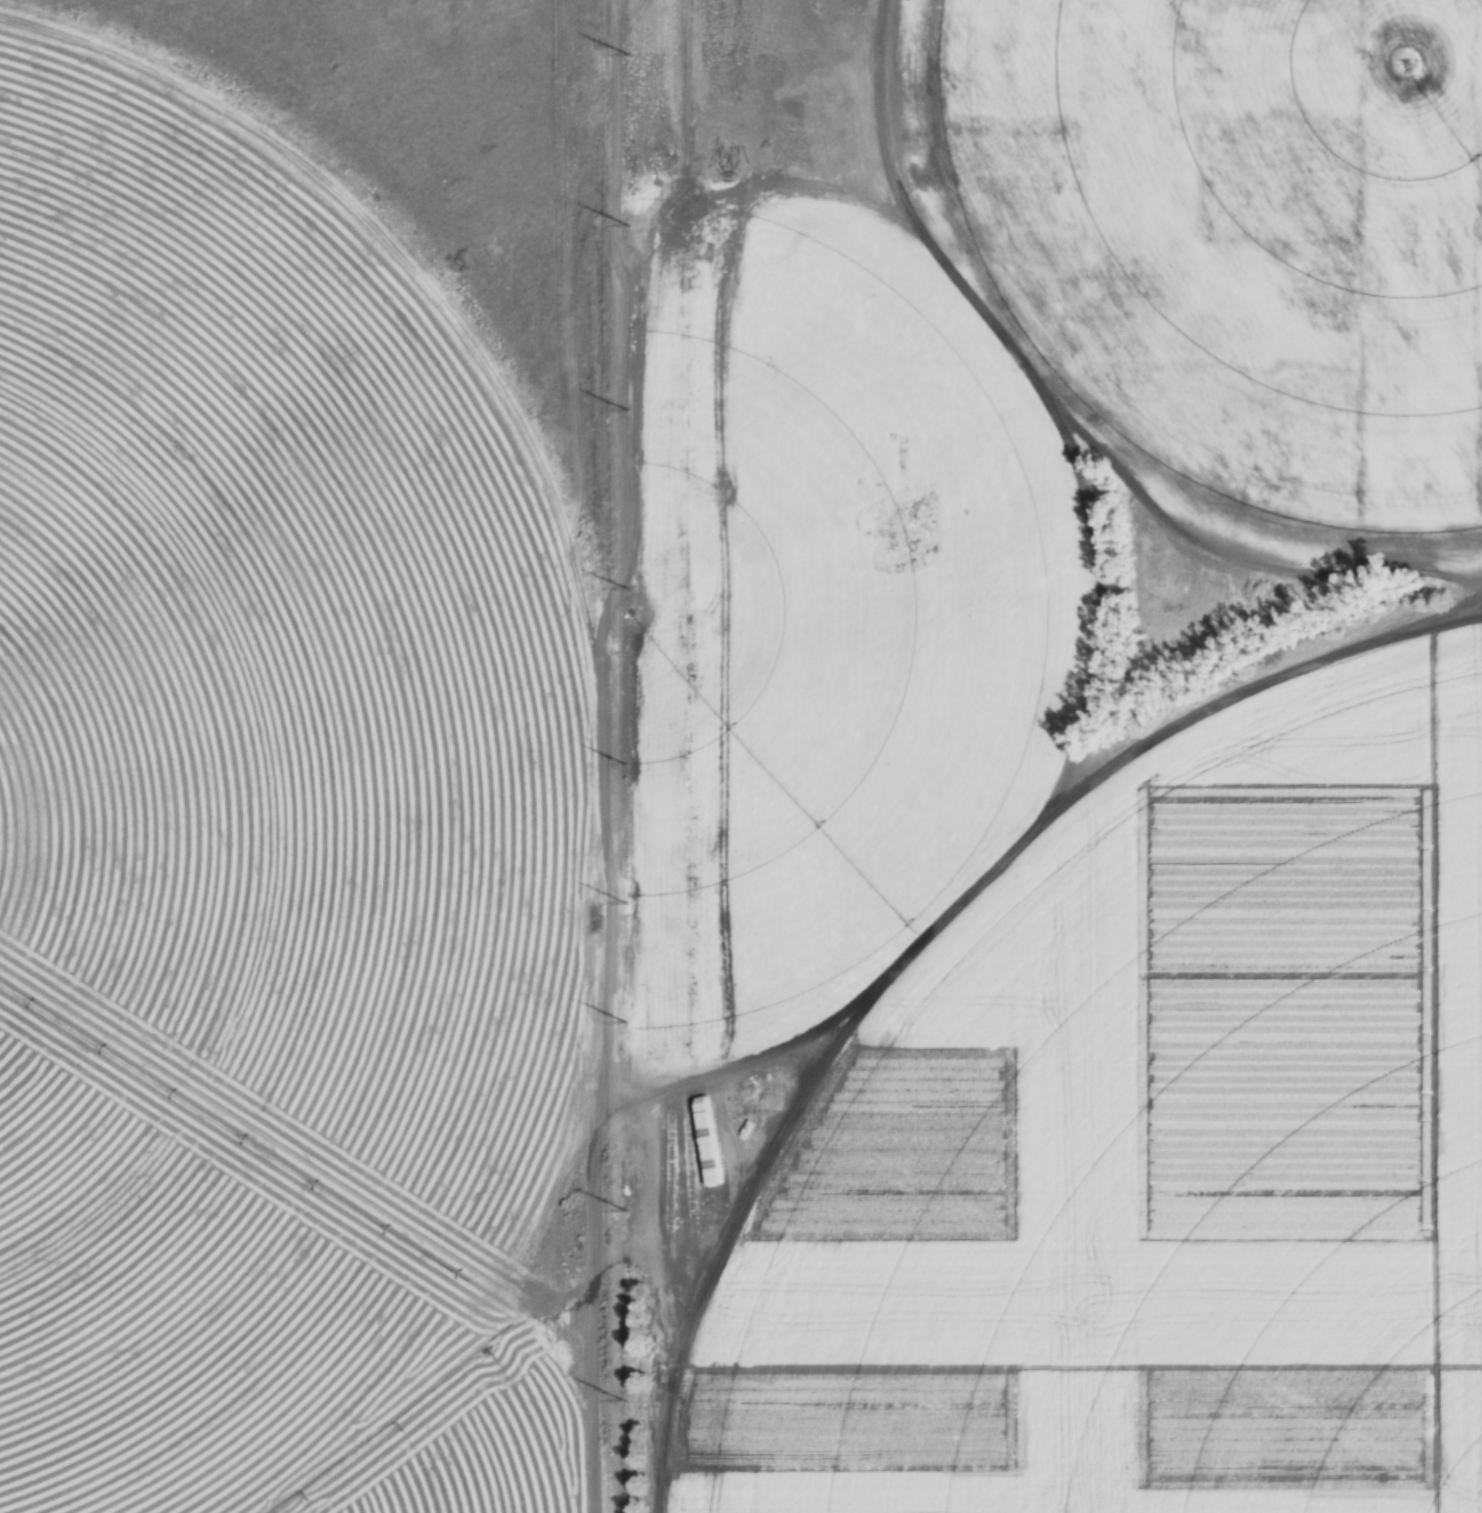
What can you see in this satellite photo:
crop: (1250, 218)
road: (623, 756)
building: (306, 787)
crop: (246, 818)
crop: (1163, 1164)

